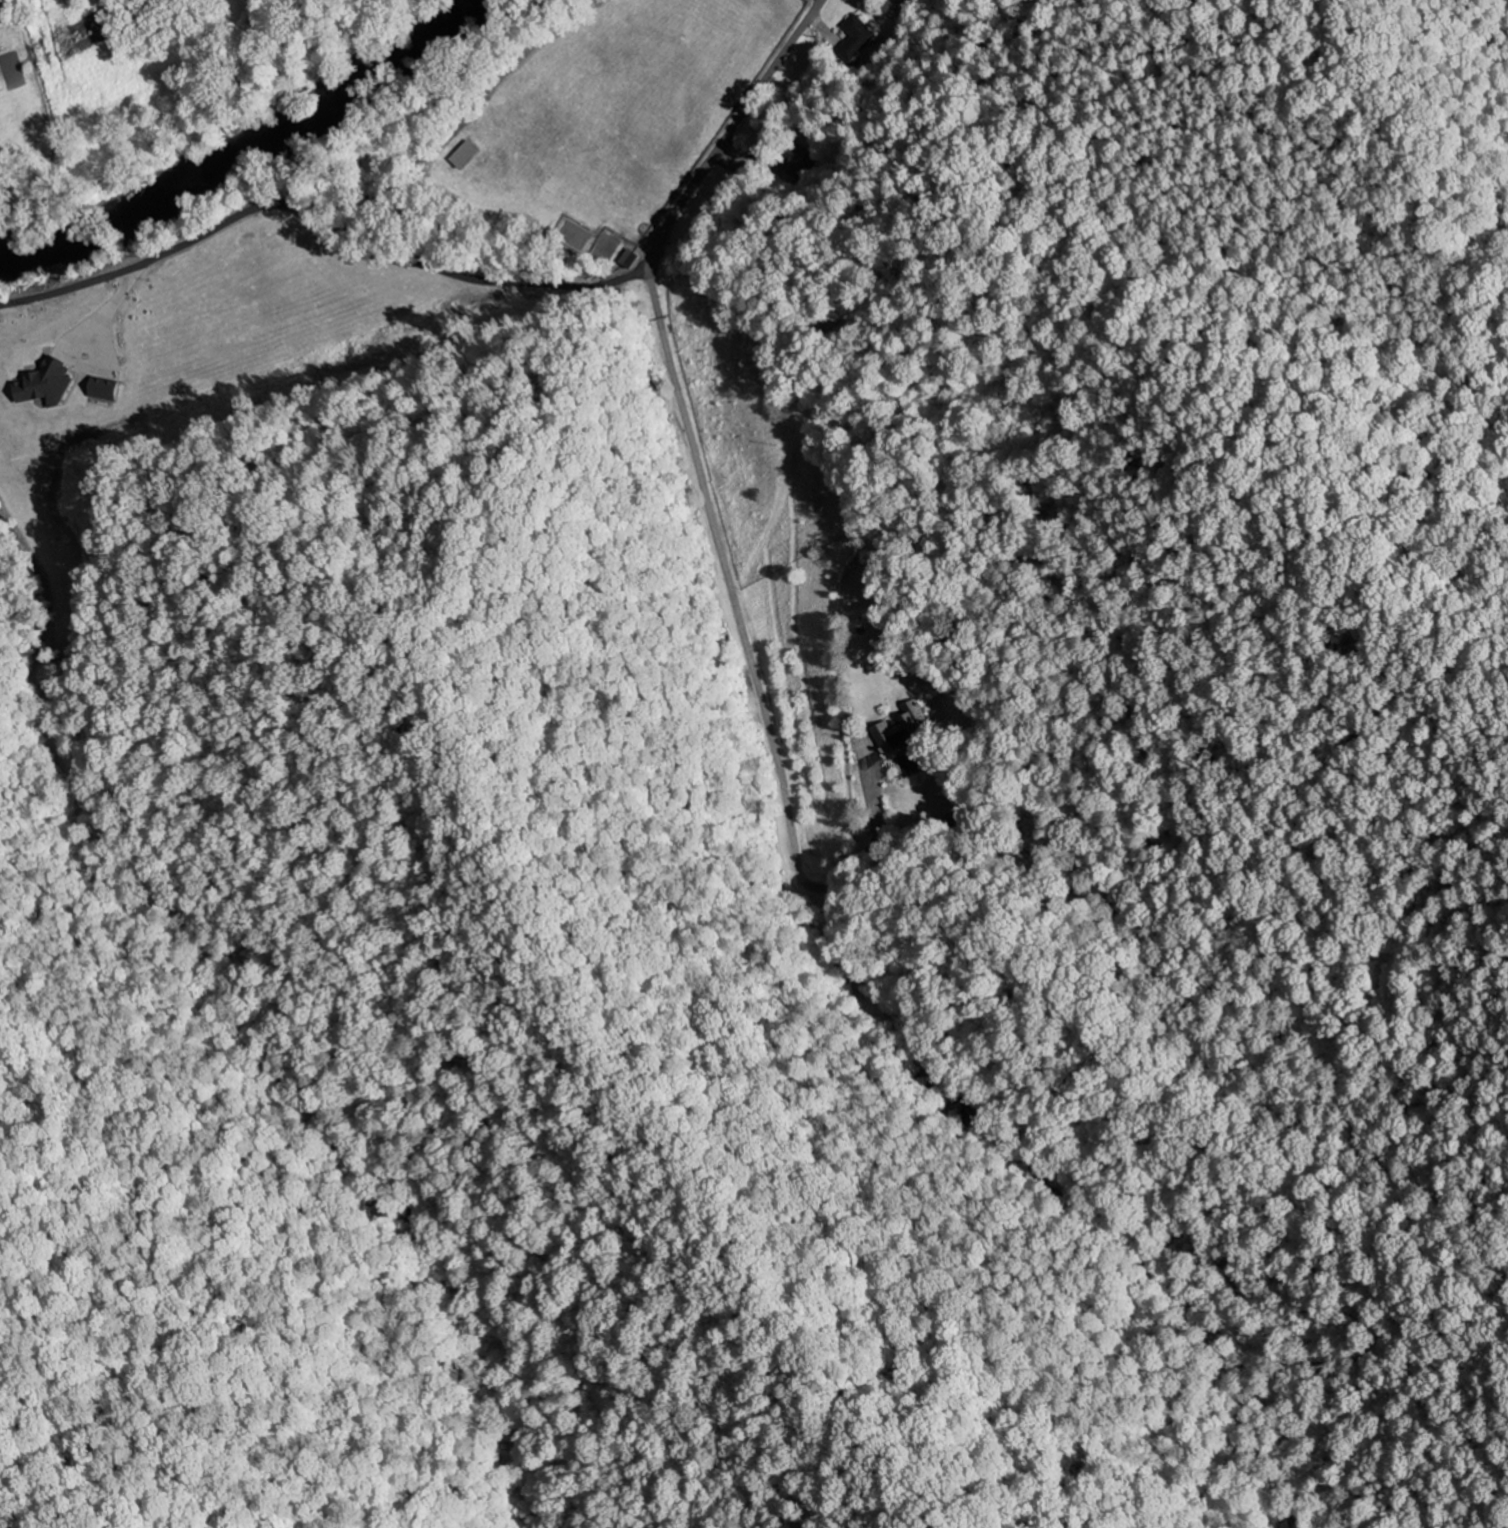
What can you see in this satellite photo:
building: (853, 38)
road: (732, 128)
river: (245, 145)
building: (466, 154)
road: (253, 207)
building: (628, 259)
road: (579, 280)
building: (42, 383)
building: (100, 388)
road: (725, 569)
building: (899, 733)

